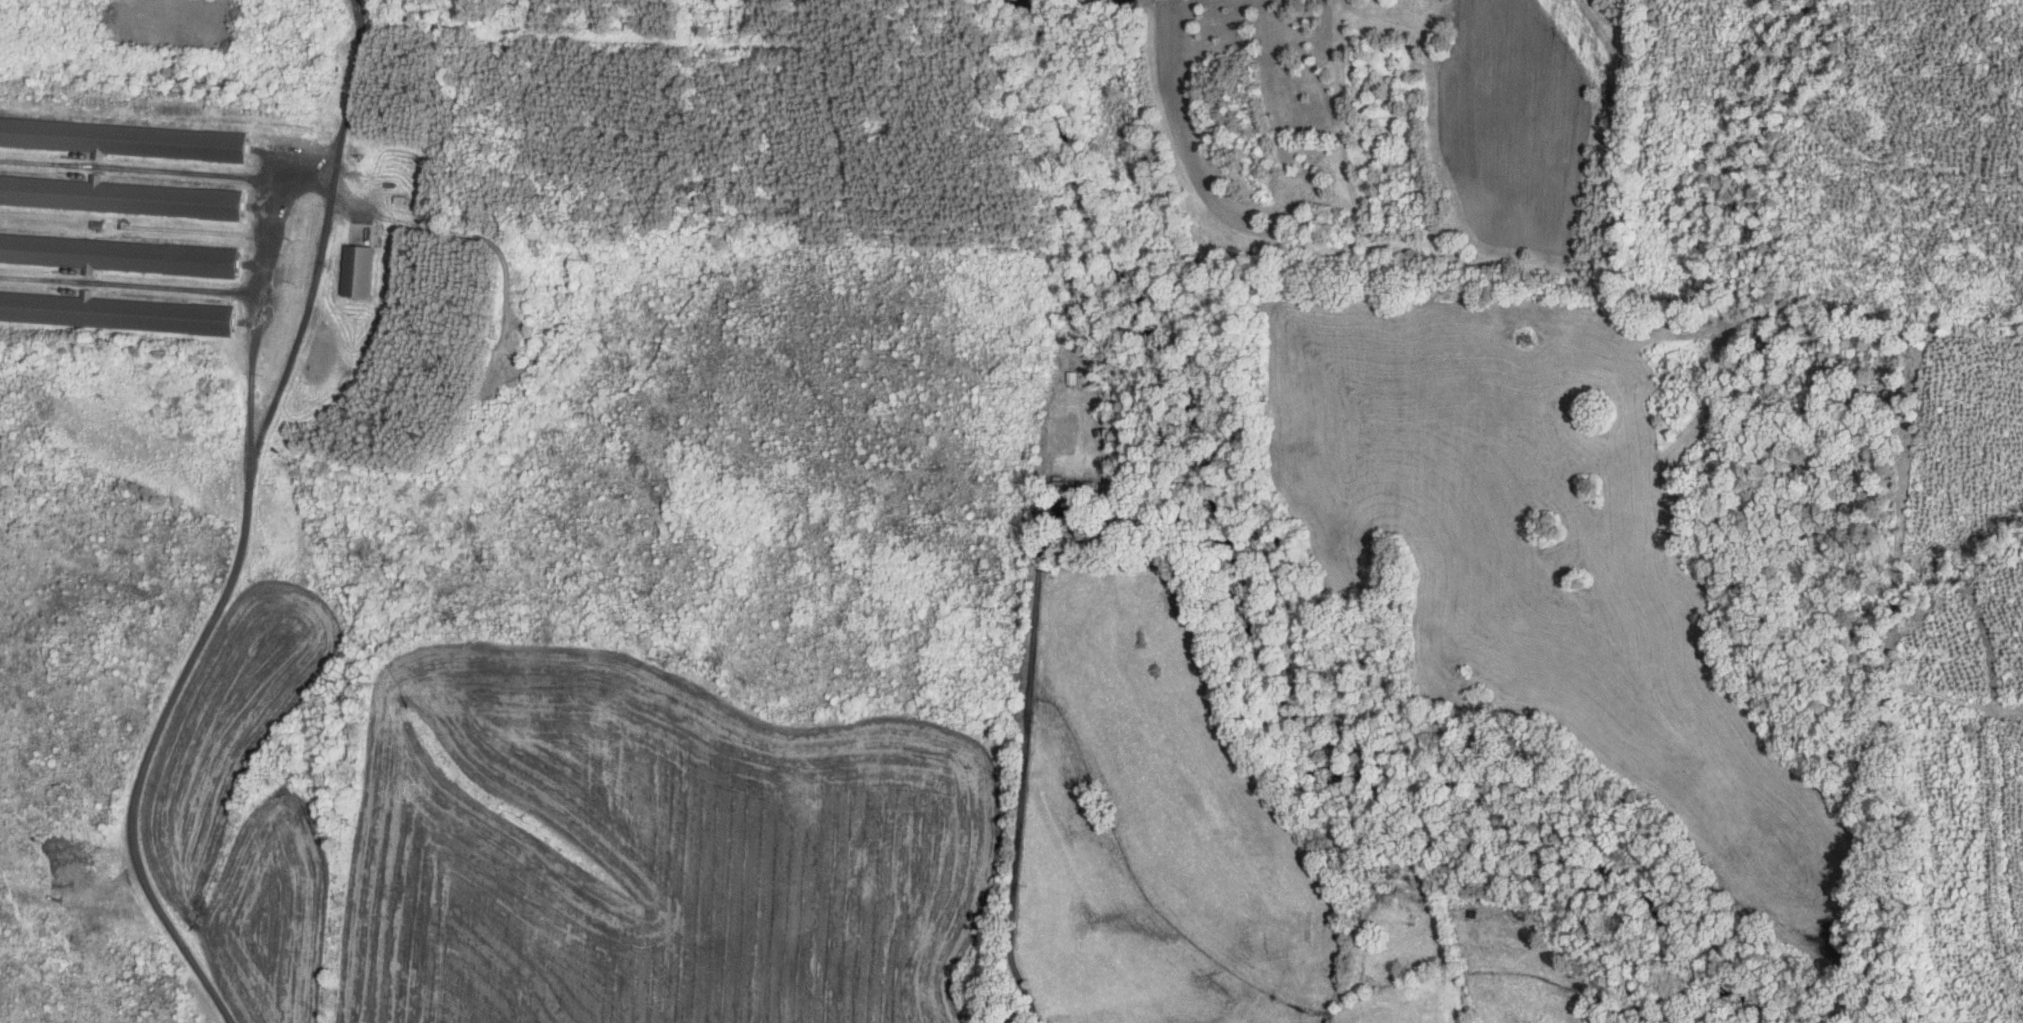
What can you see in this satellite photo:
building: (122, 139)
building: (116, 195)
building: (119, 254)
building: (355, 270)
building: (113, 311)
building: (1069, 376)
building: (1071, 485)
road: (248, 529)
road: (1025, 759)
road: (1030, 1017)

